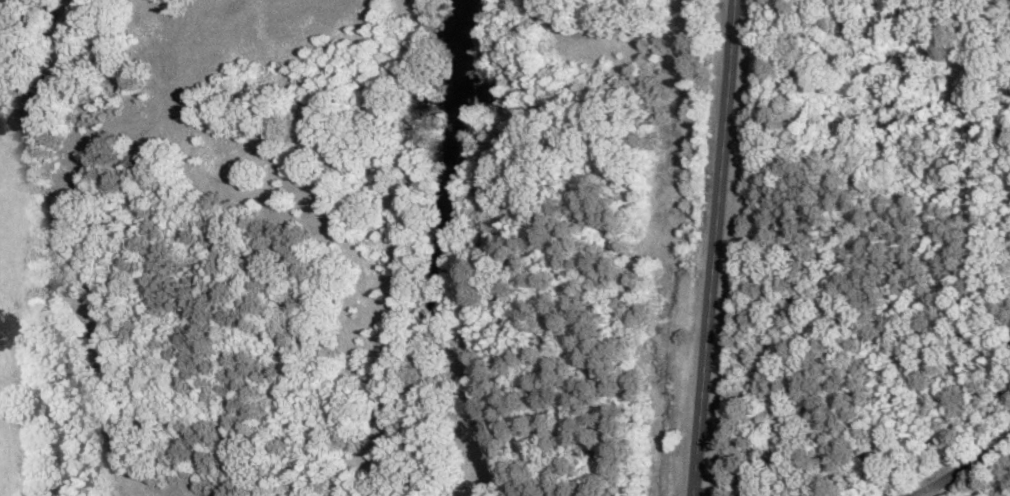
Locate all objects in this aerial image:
road: (701, 248)
road: (998, 487)

